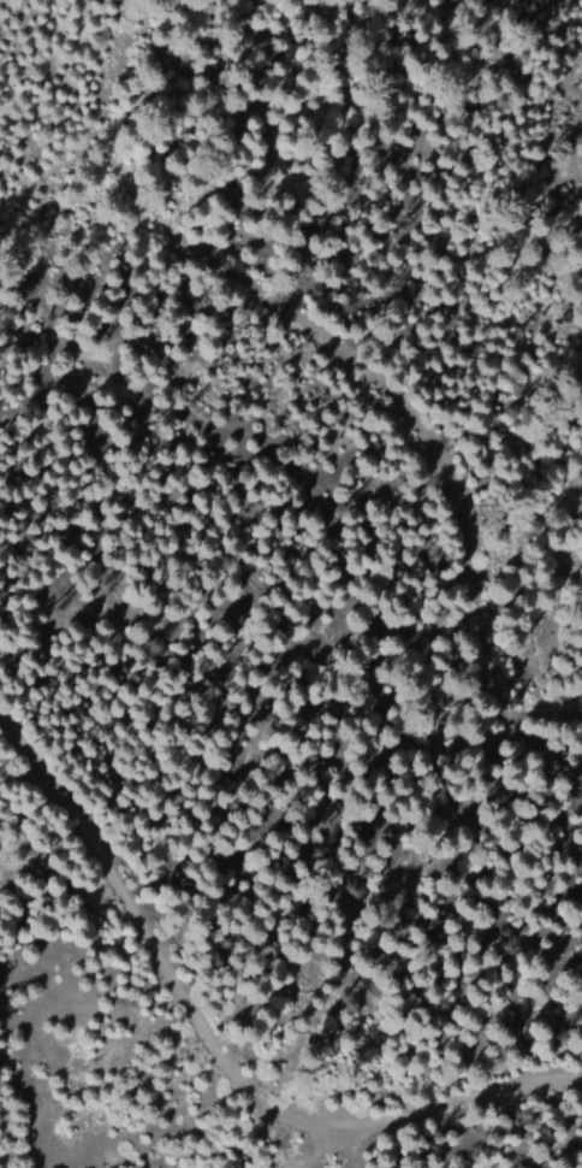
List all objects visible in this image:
road: (337, 360)
road: (292, 700)
road: (215, 1058)

